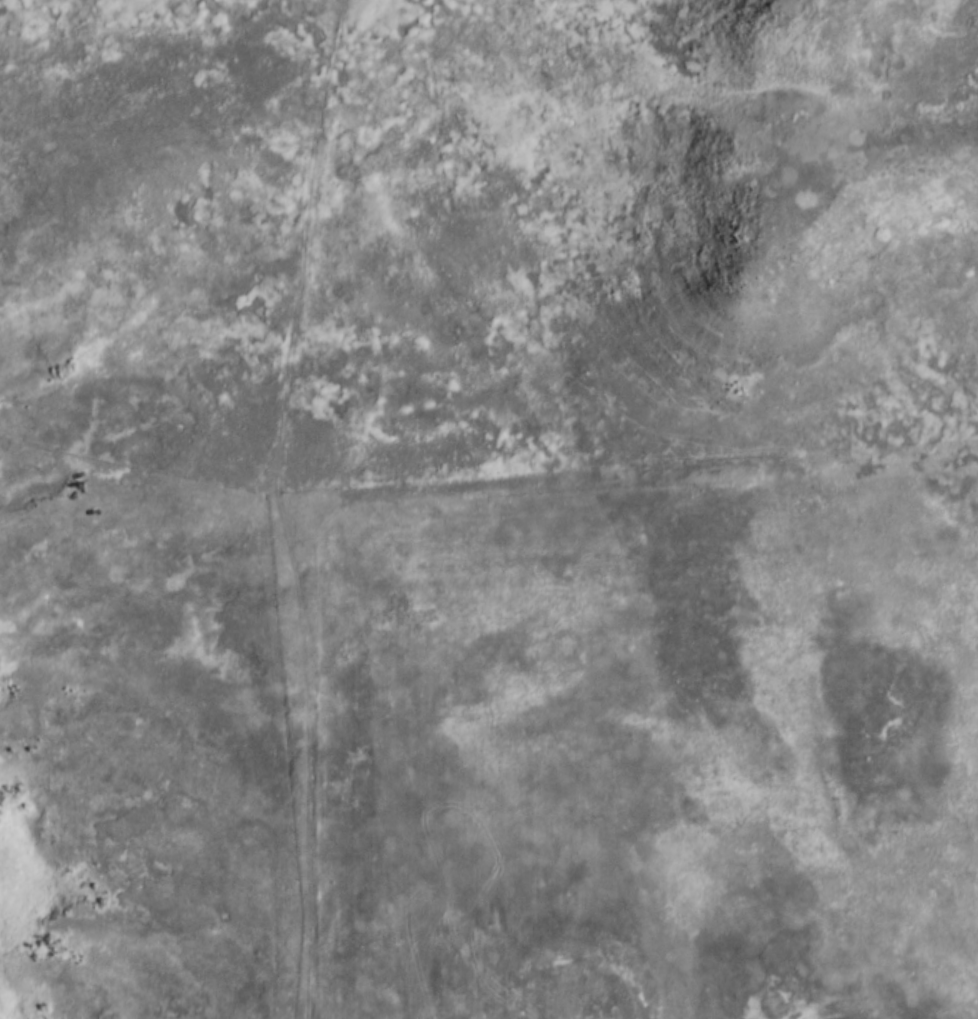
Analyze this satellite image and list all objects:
road: (305, 706)

